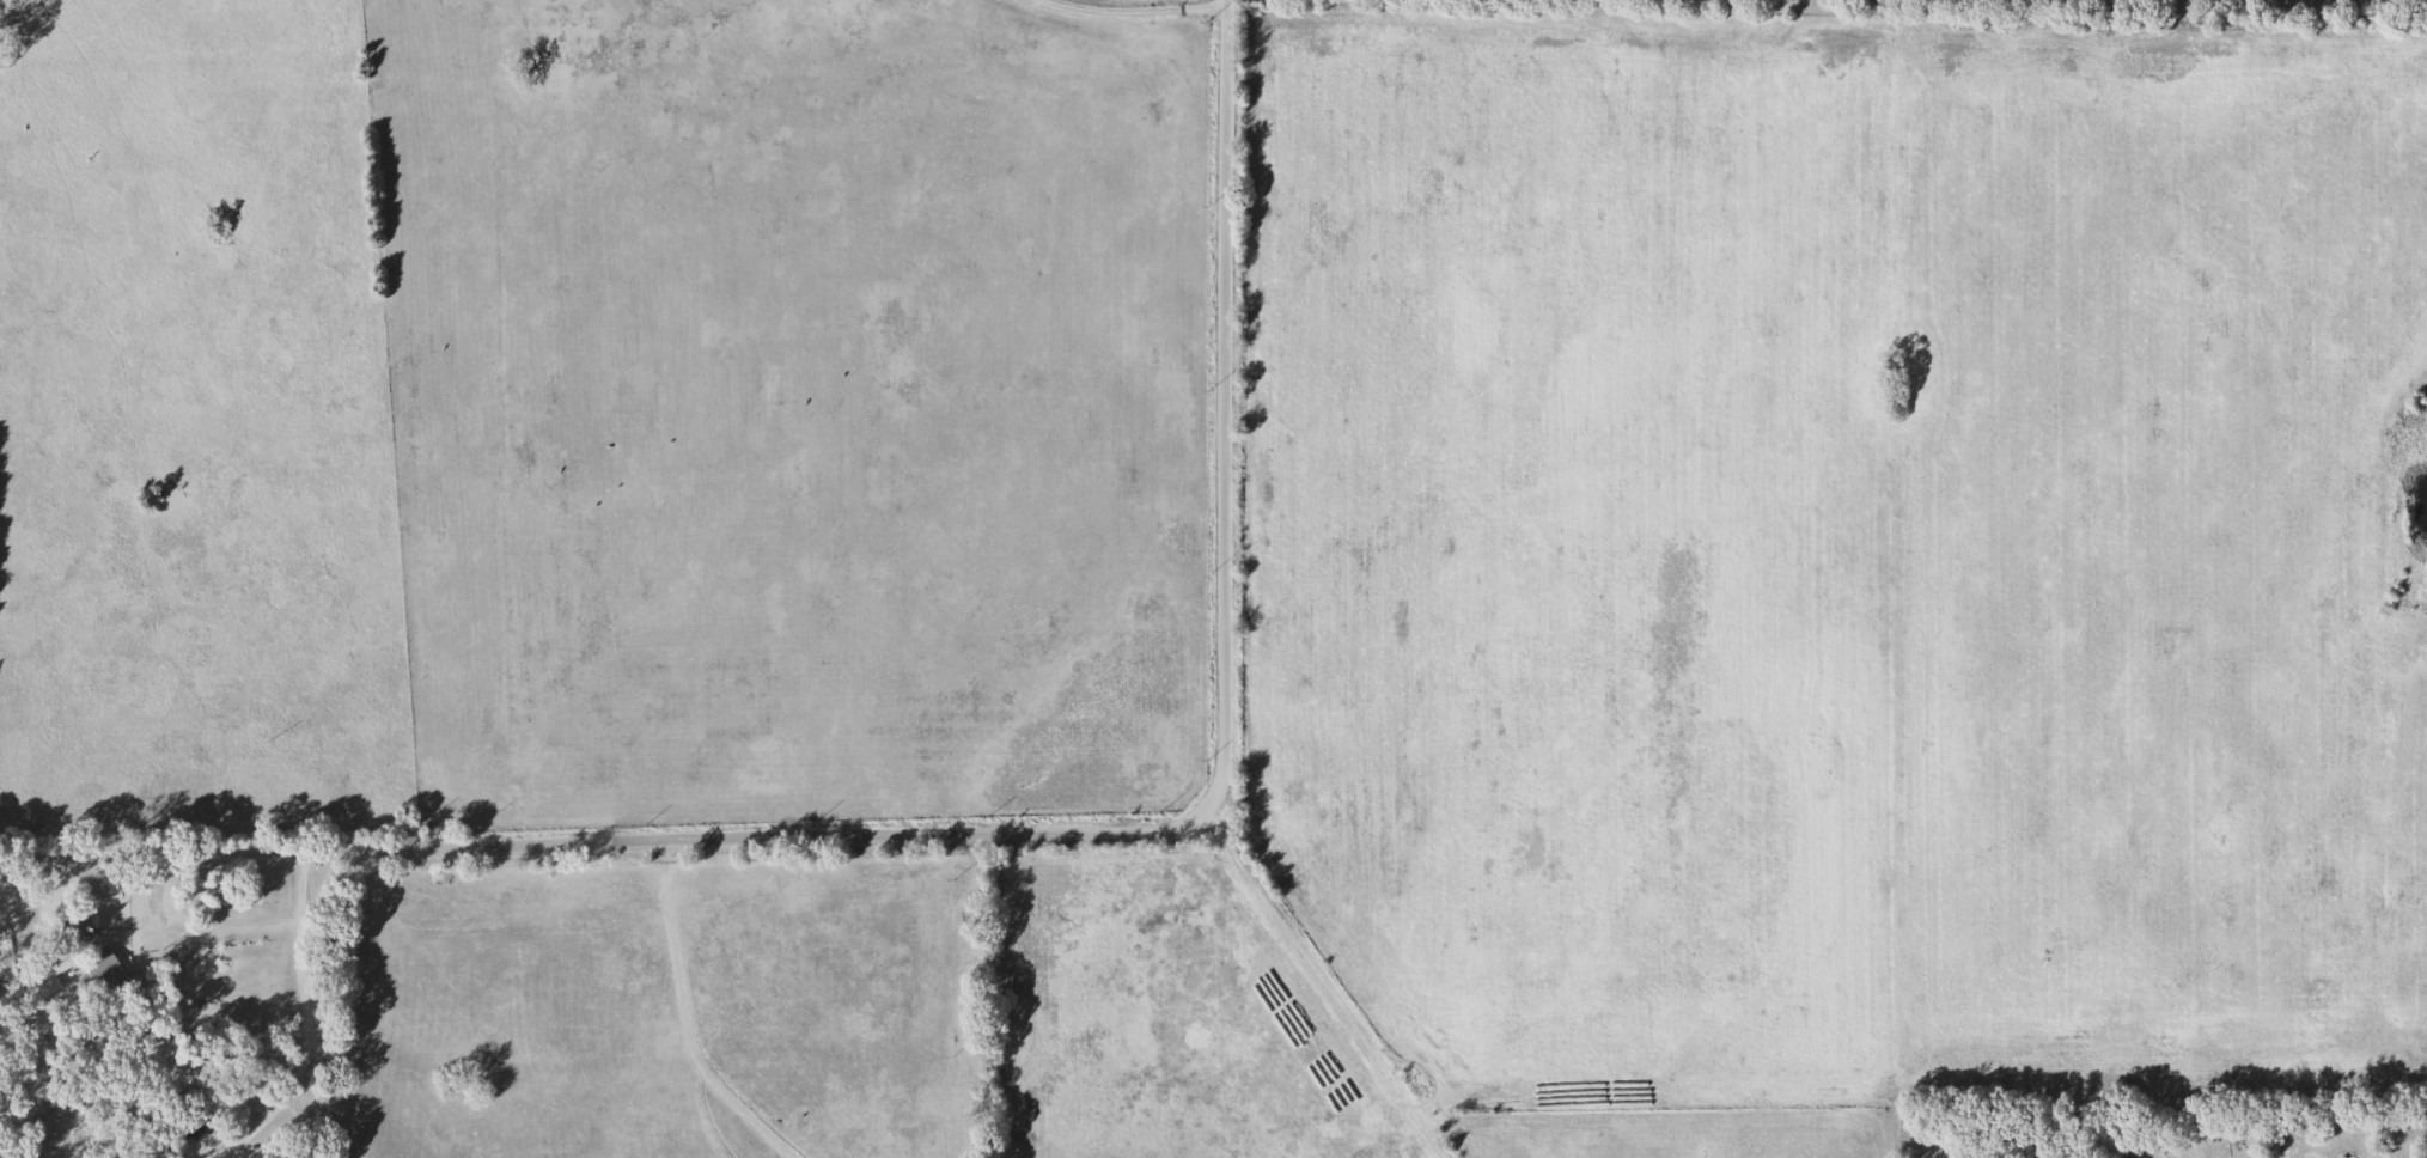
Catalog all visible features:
road: (1140, 13)
road: (1019, 835)
building: (78, 935)
building: (109, 973)
road: (1338, 994)
road: (691, 1020)
road: (306, 1023)
building: (161, 1152)

